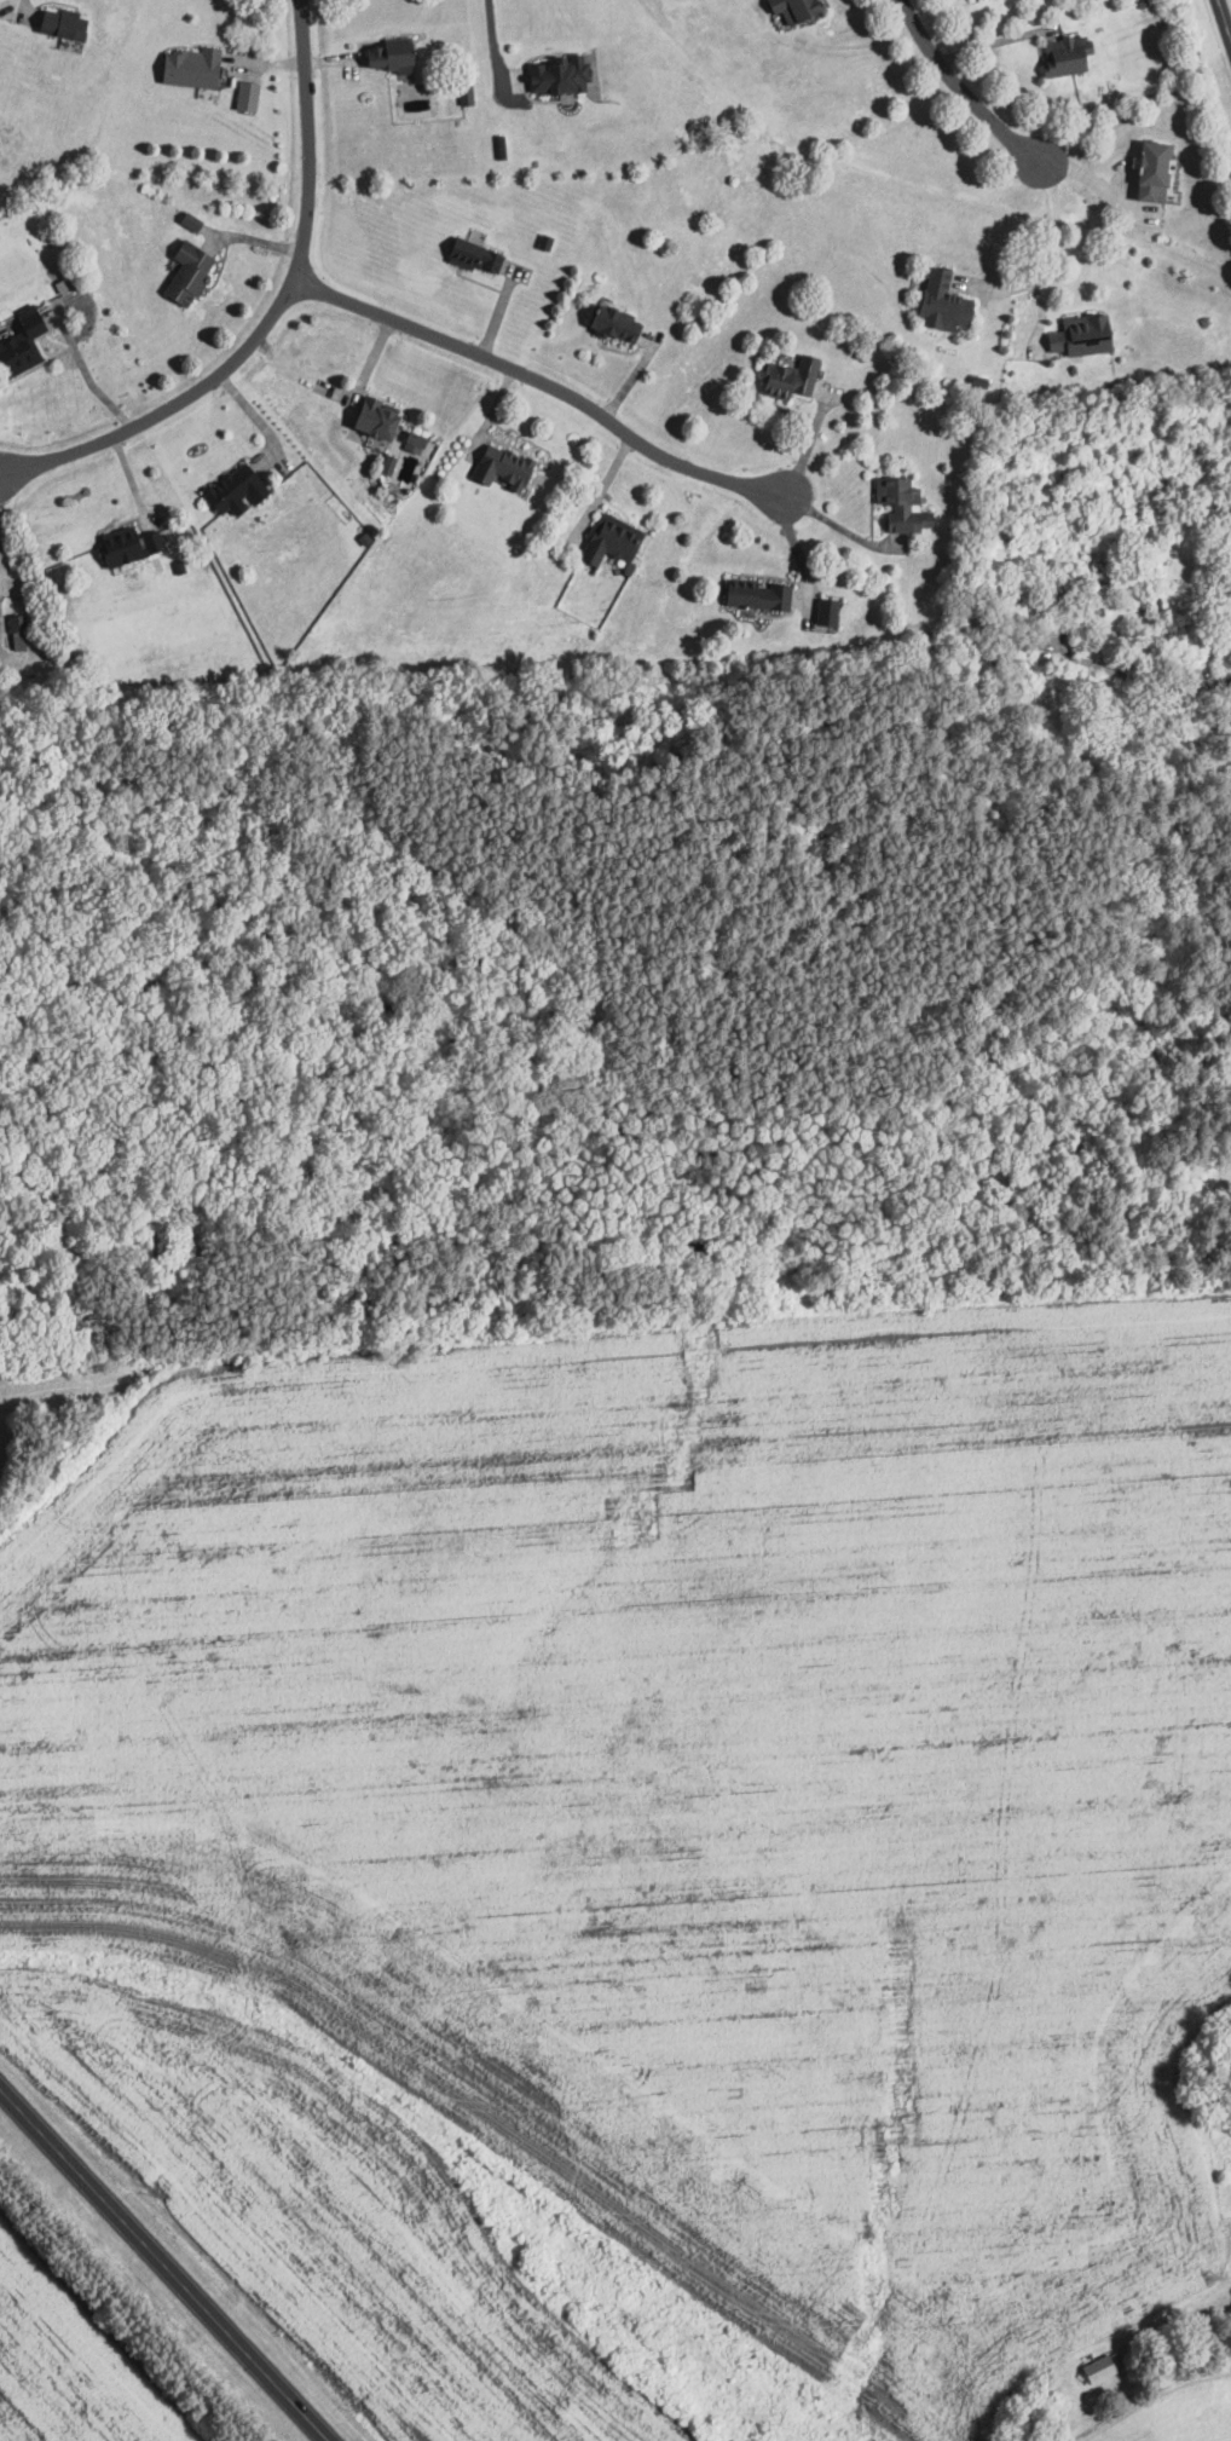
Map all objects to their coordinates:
building: (788, 7)
road: (1224, 19)
building: (58, 23)
road: (491, 33)
road: (984, 46)
building: (383, 54)
building: (1062, 56)
building: (186, 67)
building: (553, 74)
building: (464, 93)
road: (953, 93)
building: (243, 94)
building: (1151, 166)
road: (1053, 237)
building: (468, 254)
building: (183, 272)
building: (937, 301)
road: (272, 314)
building: (608, 323)
building: (1077, 334)
building: (19, 340)
road: (473, 352)
building: (785, 377)
road: (92, 382)
building: (368, 416)
building: (409, 442)
building: (385, 463)
building: (498, 467)
road: (712, 473)
building: (231, 490)
building: (898, 504)
road: (837, 525)
building: (607, 539)
building: (122, 544)
road: (1, 583)
building: (751, 594)
building: (826, 612)
road: (1143, 682)
road: (164, 2264)
building: (1094, 2368)
road: (1148, 2396)

